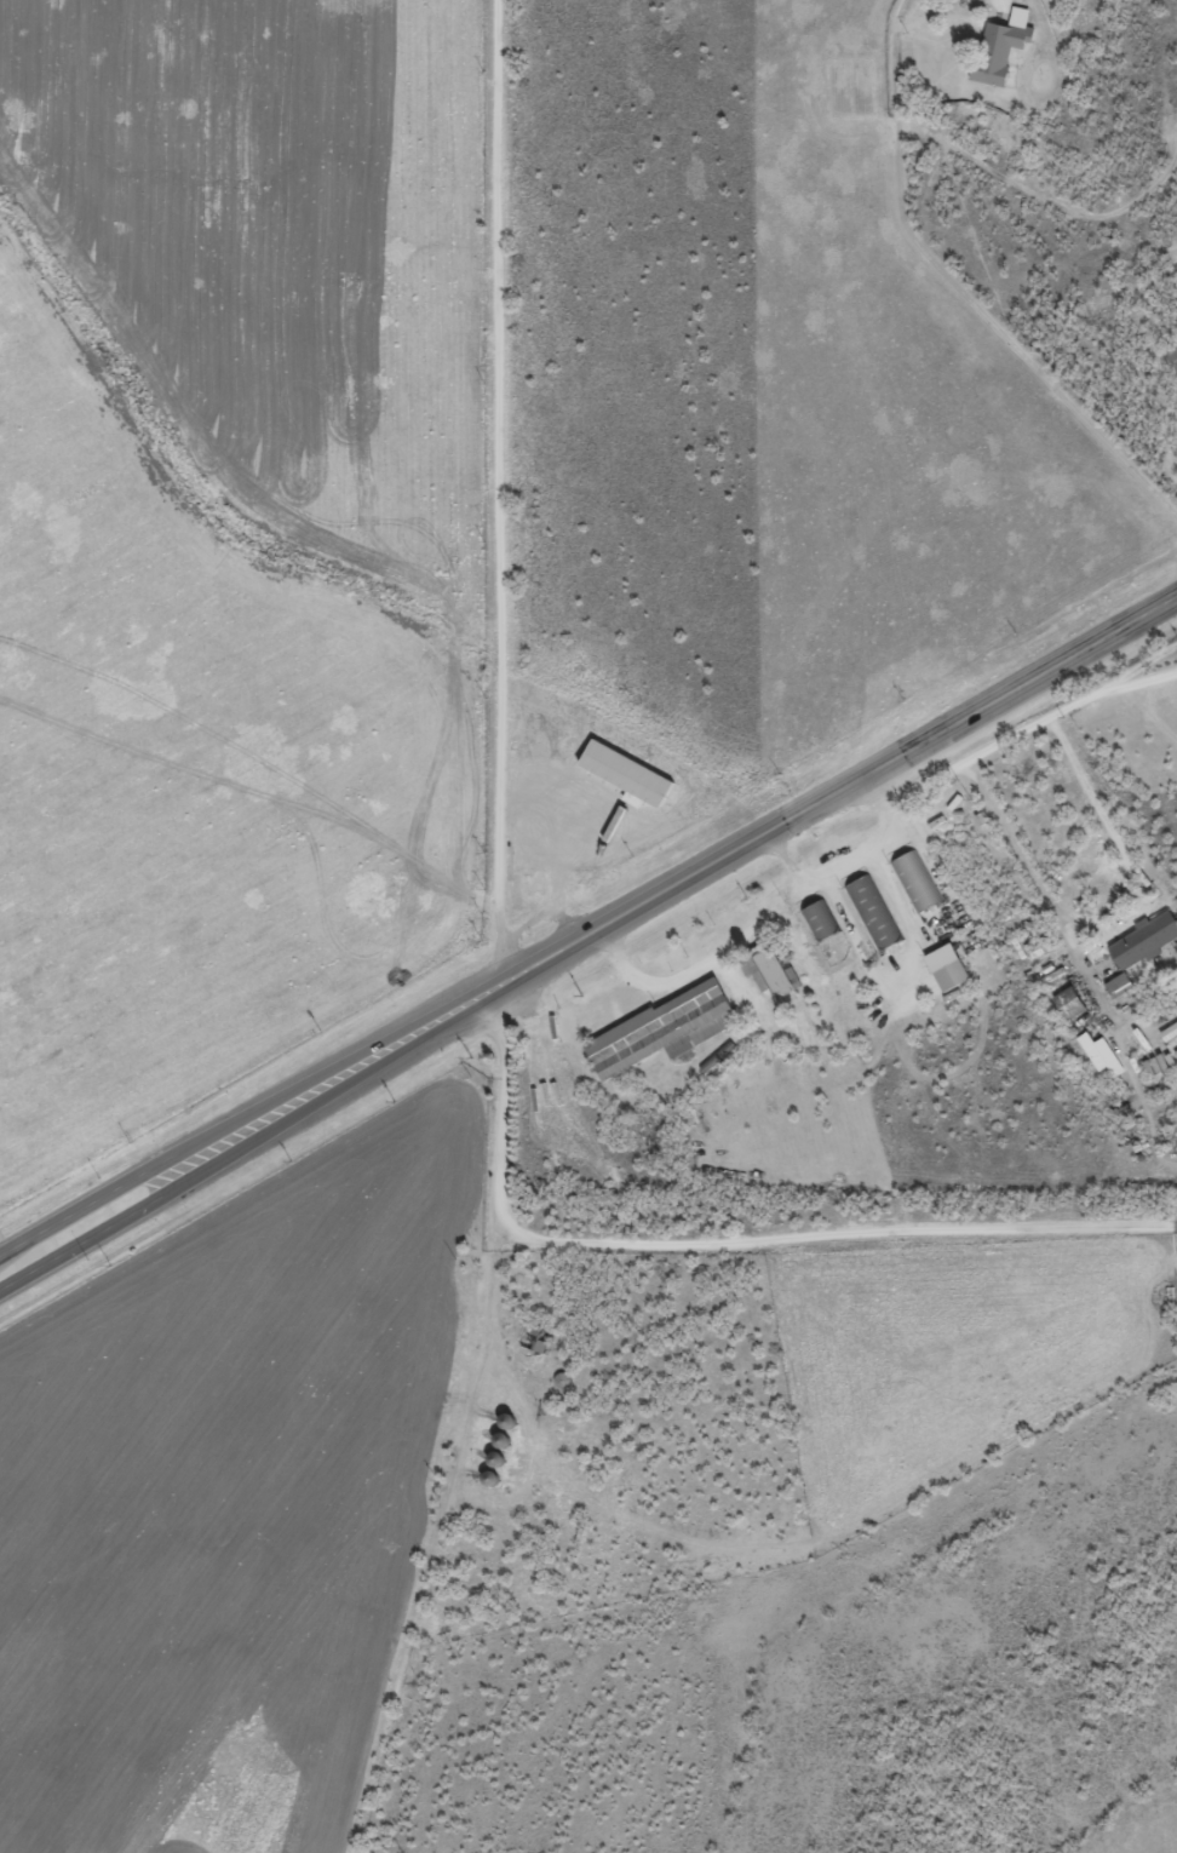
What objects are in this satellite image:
building: (1001, 46)
building: (1172, 354)
road: (499, 487)
road: (1028, 727)
road: (886, 757)
road: (849, 862)
building: (914, 880)
building: (873, 912)
road: (1096, 916)
building: (820, 919)
building: (1143, 940)
road: (907, 966)
building: (947, 966)
building: (773, 968)
building: (1120, 986)
building: (1069, 1002)
building: (664, 1028)
building: (1169, 1031)
building: (1101, 1052)
road: (297, 1084)
road: (302, 1109)
road: (75, 1176)
road: (727, 1239)
road: (81, 1277)
road: (441, 1526)

